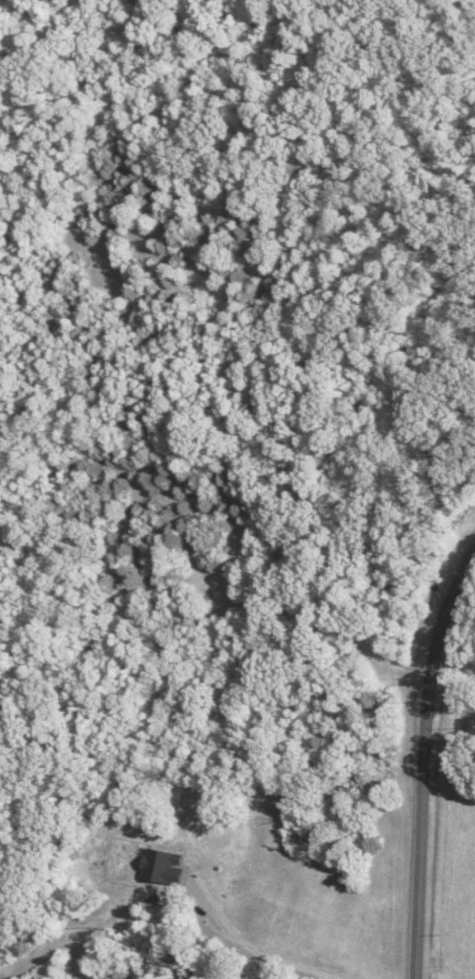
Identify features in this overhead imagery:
road: (423, 757)
road: (174, 881)

